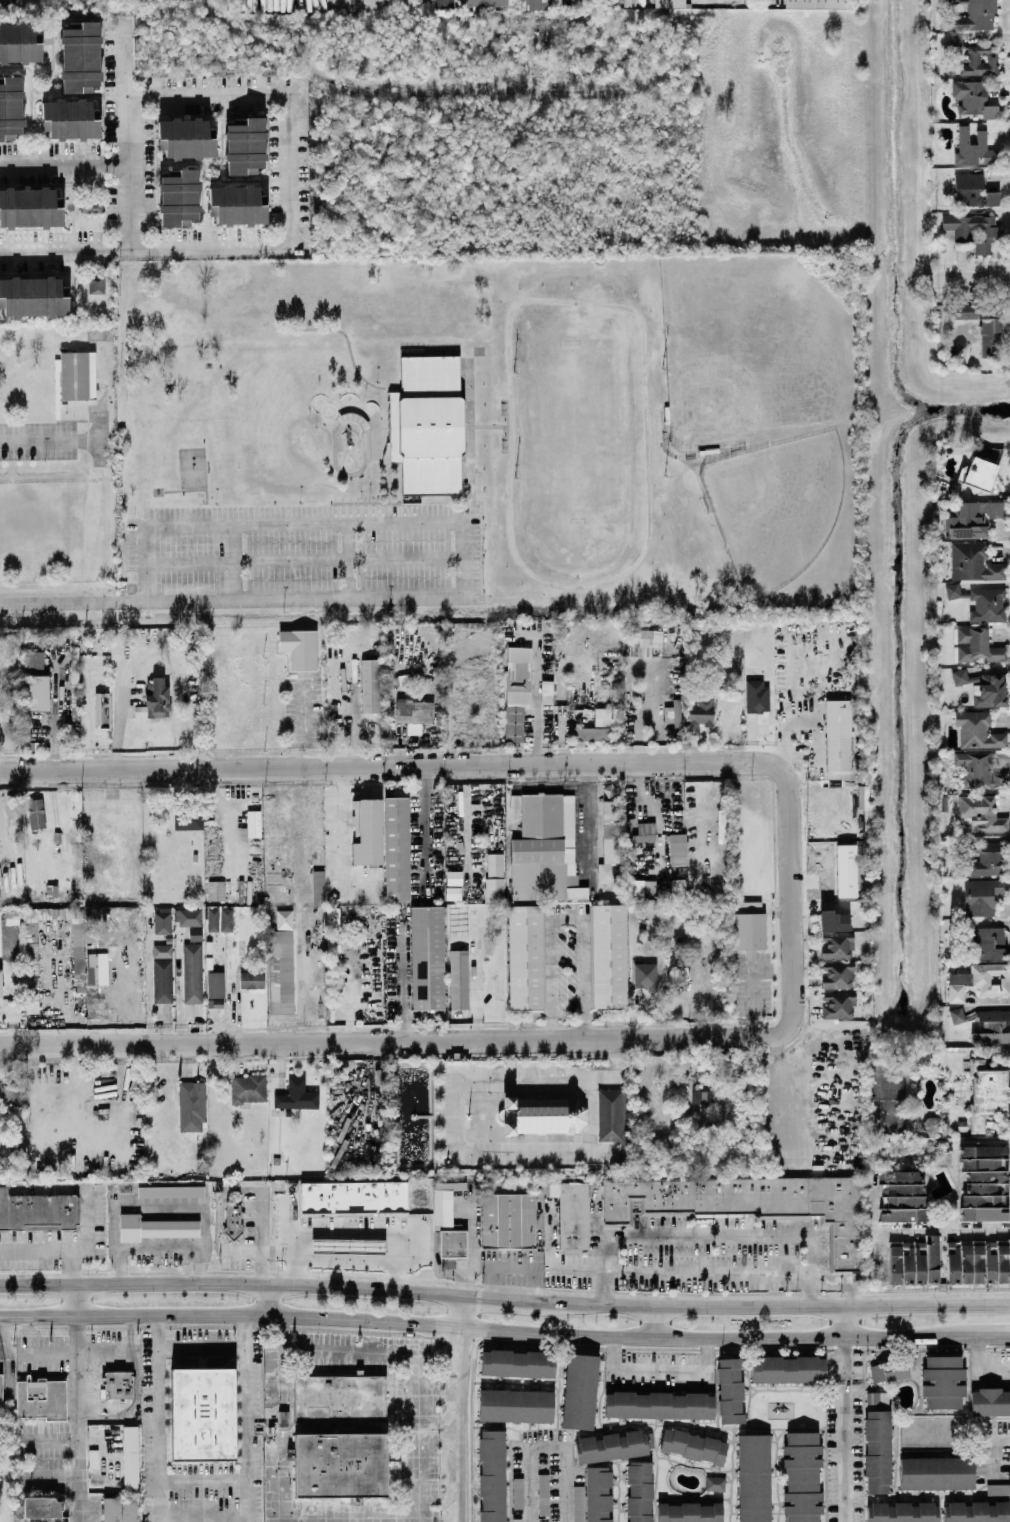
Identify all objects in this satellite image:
building: (10, 2)
building: (565, 2)
building: (817, 3)
building: (387, 4)
building: (443, 4)
building: (971, 16)
building: (19, 43)
building: (80, 57)
building: (976, 57)
road: (285, 94)
building: (974, 99)
building: (10, 107)
building: (70, 119)
road: (129, 134)
building: (186, 138)
building: (245, 146)
building: (973, 147)
road: (65, 163)
building: (972, 190)
building: (178, 197)
building: (237, 204)
building: (91, 205)
building: (30, 208)
building: (972, 230)
road: (153, 249)
road: (971, 278)
building: (96, 284)
building: (33, 296)
building: (983, 329)
park: (754, 349)
building: (74, 375)
building: (427, 424)
road: (96, 425)
road: (48, 441)
building: (977, 473)
park: (777, 504)
building: (971, 519)
road: (161, 525)
road: (350, 562)
building: (973, 562)
road: (234, 563)
road: (143, 583)
road: (238, 601)
building: (987, 604)
building: (645, 642)
building: (117, 644)
building: (976, 644)
building: (300, 649)
building: (33, 660)
building: (404, 678)
building: (370, 684)
building: (982, 687)
building: (517, 690)
building: (36, 692)
building: (756, 696)
building: (140, 710)
building: (101, 711)
building: (700, 711)
building: (673, 713)
building: (414, 714)
building: (607, 716)
building: (977, 730)
building: (591, 733)
building: (837, 734)
road: (520, 765)
building: (979, 770)
road: (554, 775)
road: (547, 786)
building: (36, 813)
building: (982, 813)
road: (425, 816)
building: (188, 818)
road: (589, 820)
building: (253, 822)
building: (367, 831)
building: (611, 831)
building: (645, 832)
building: (397, 847)
building: (543, 847)
building: (678, 849)
building: (988, 859)
building: (495, 864)
building: (846, 870)
building: (454, 877)
building: (318, 886)
building: (678, 887)
building: (575, 888)
building: (494, 889)
building: (216, 890)
building: (453, 892)
building: (981, 895)
road: (566, 915)
building: (188, 917)
building: (284, 918)
building: (332, 918)
building: (213, 919)
building: (226, 919)
building: (163, 920)
building: (834, 920)
building: (749, 929)
building: (195, 933)
building: (10, 941)
building: (990, 943)
building: (836, 944)
building: (162, 950)
building: (609, 954)
building: (427, 956)
building: (524, 956)
building: (192, 972)
building: (837, 974)
building: (645, 976)
building: (251, 979)
building: (459, 979)
building: (162, 980)
building: (980, 980)
building: (215, 983)
road: (179, 988)
building: (0, 994)
road: (300, 997)
building: (838, 1004)
building: (957, 1015)
building: (993, 1027)
road: (397, 1040)
building: (248, 1088)
road: (785, 1090)
building: (705, 1094)
building: (987, 1094)
building: (296, 1095)
building: (192, 1104)
building: (542, 1114)
building: (610, 1114)
road: (453, 1118)
building: (985, 1182)
building: (170, 1191)
building: (353, 1196)
building: (904, 1196)
road: (156, 1201)
road: (219, 1203)
building: (746, 1204)
building: (38, 1211)
building: (571, 1214)
building: (507, 1219)
building: (233, 1220)
building: (154, 1227)
road: (943, 1227)
building: (447, 1229)
road: (352, 1233)
road: (709, 1234)
road: (261, 1235)
parking lot: (59, 1238)
road: (472, 1243)
road: (158, 1245)
building: (348, 1246)
road: (77, 1252)
road: (261, 1253)
building: (914, 1260)
road: (346, 1261)
building: (978, 1261)
road: (69, 1268)
road: (709, 1269)
road: (234, 1283)
road: (739, 1293)
road: (268, 1298)
road: (495, 1298)
road: (766, 1306)
road: (477, 1310)
road: (849, 1321)
road: (658, 1322)
road: (489, 1330)
road: (244, 1331)
road: (157, 1332)
road: (994, 1335)
road: (105, 1345)
road: (929, 1347)
road: (201, 1350)
road: (49, 1353)
road: (7, 1356)
road: (412, 1358)
building: (518, 1363)
road: (980, 1365)
building: (788, 1369)
building: (890, 1369)
road: (662, 1371)
building: (943, 1381)
building: (118, 1384)
building: (1, 1388)
building: (579, 1390)
building: (730, 1391)
building: (339, 1397)
building: (42, 1399)
building: (990, 1401)
road: (78, 1402)
building: (659, 1404)
building: (516, 1405)
road: (105, 1407)
road: (459, 1408)
road: (247, 1411)
road: (159, 1412)
building: (202, 1413)
building: (283, 1418)
road: (847, 1428)
building: (877, 1442)
building: (614, 1445)
building: (693, 1445)
road: (549, 1446)
building: (130, 1457)
road: (995, 1458)
building: (340, 1464)
building: (936, 1472)
road: (205, 1474)
building: (492, 1475)
building: (802, 1476)
building: (754, 1478)
building: (715, 1483)
building: (639, 1491)
building: (543, 1493)
building: (598, 1494)
road: (249, 1497)
road: (161, 1498)
building: (43, 1509)
building: (119, 1509)
building: (977, 1511)
building: (689, 1512)
building: (902, 1512)
road: (367, 1515)
road: (205, 1517)

